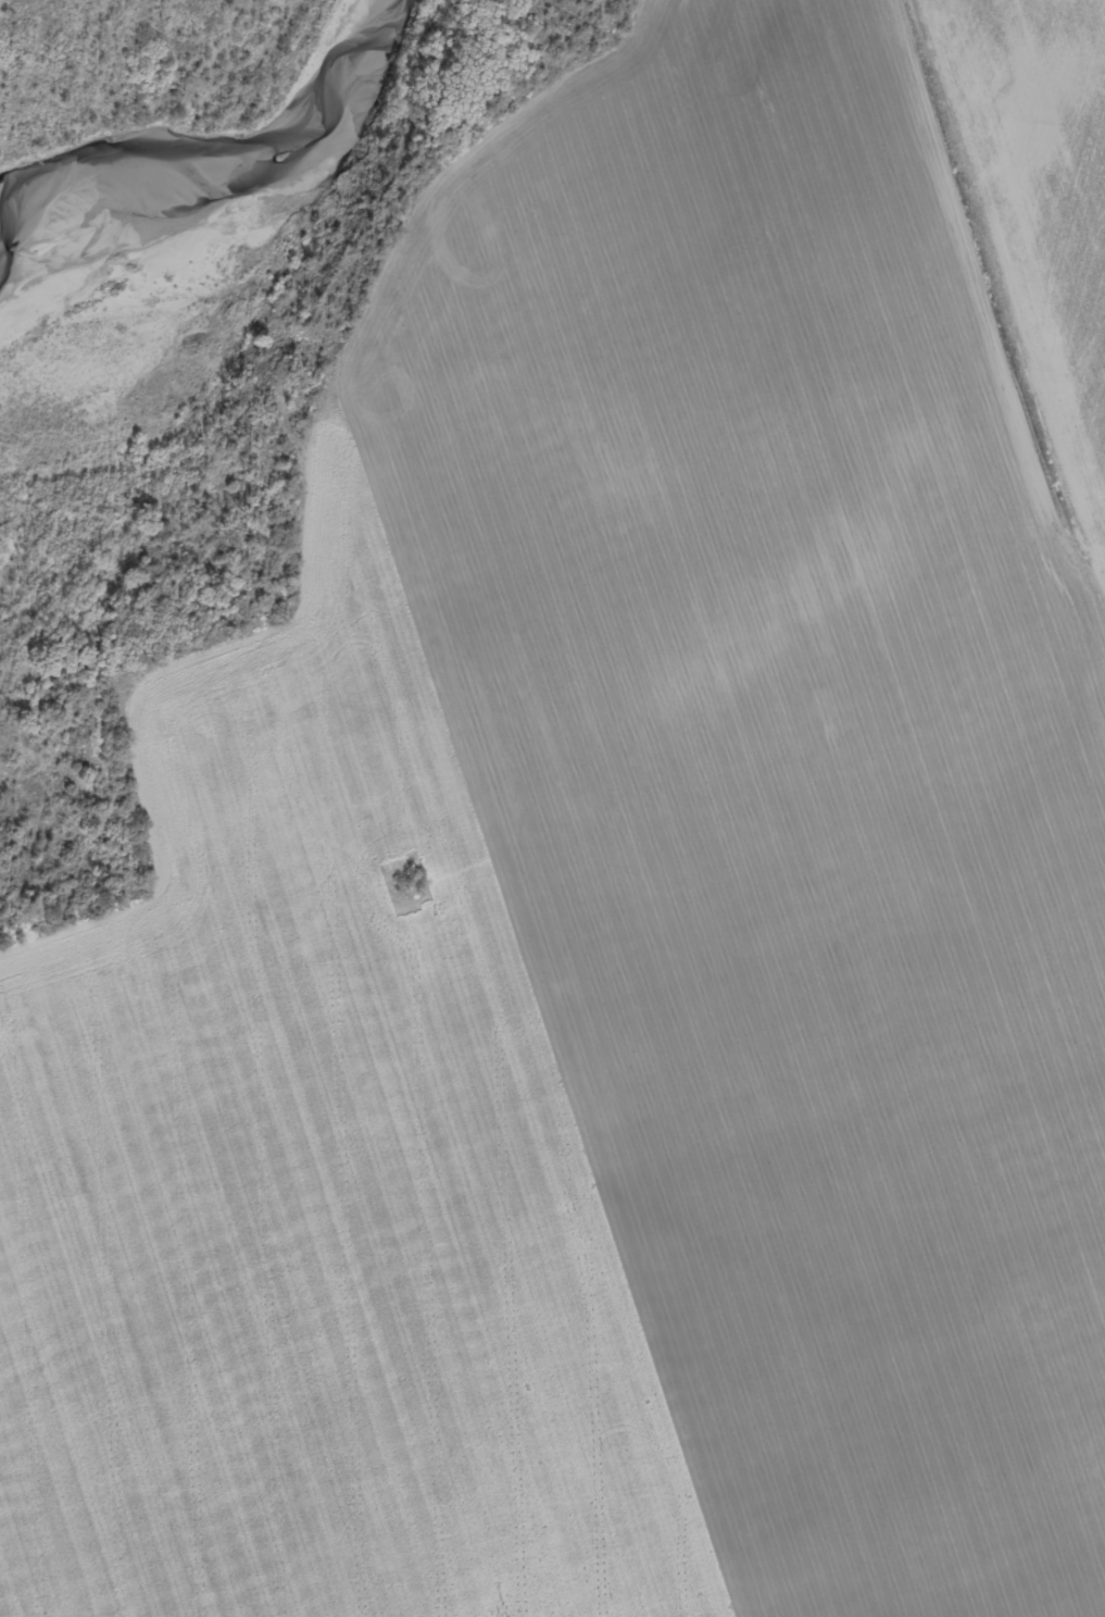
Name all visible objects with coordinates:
river: (239, 268)

